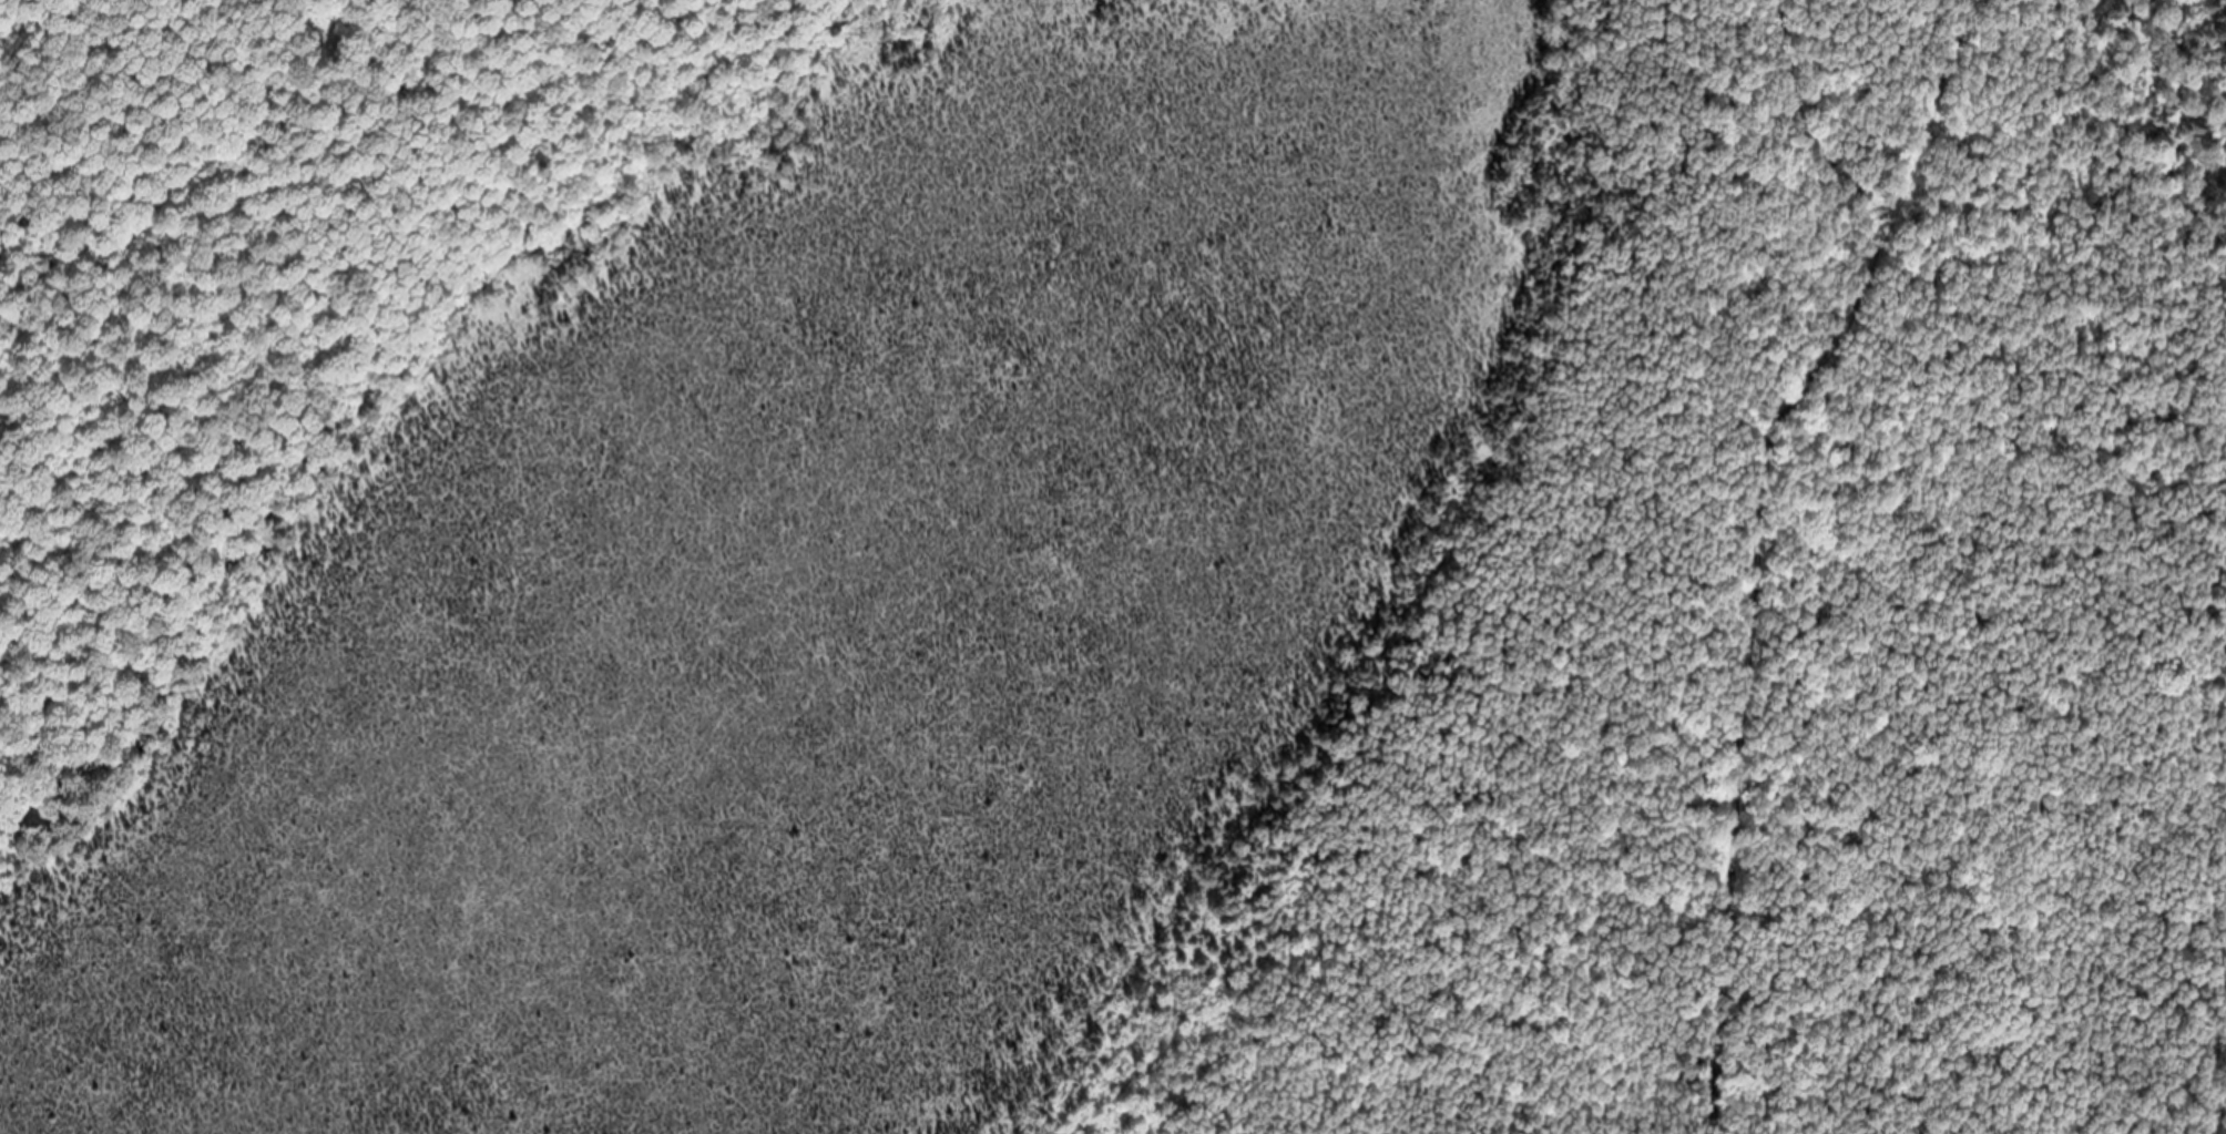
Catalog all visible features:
road: (1758, 538)

